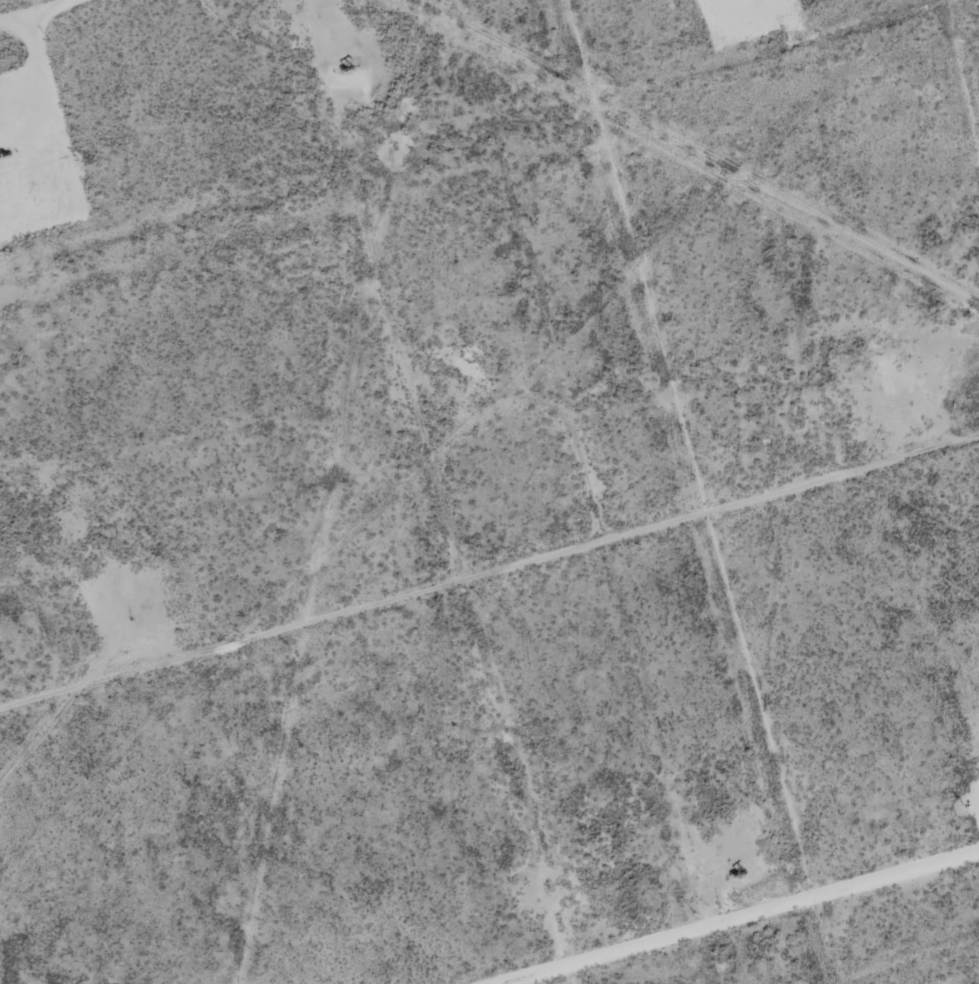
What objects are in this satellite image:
road: (765, 925)

